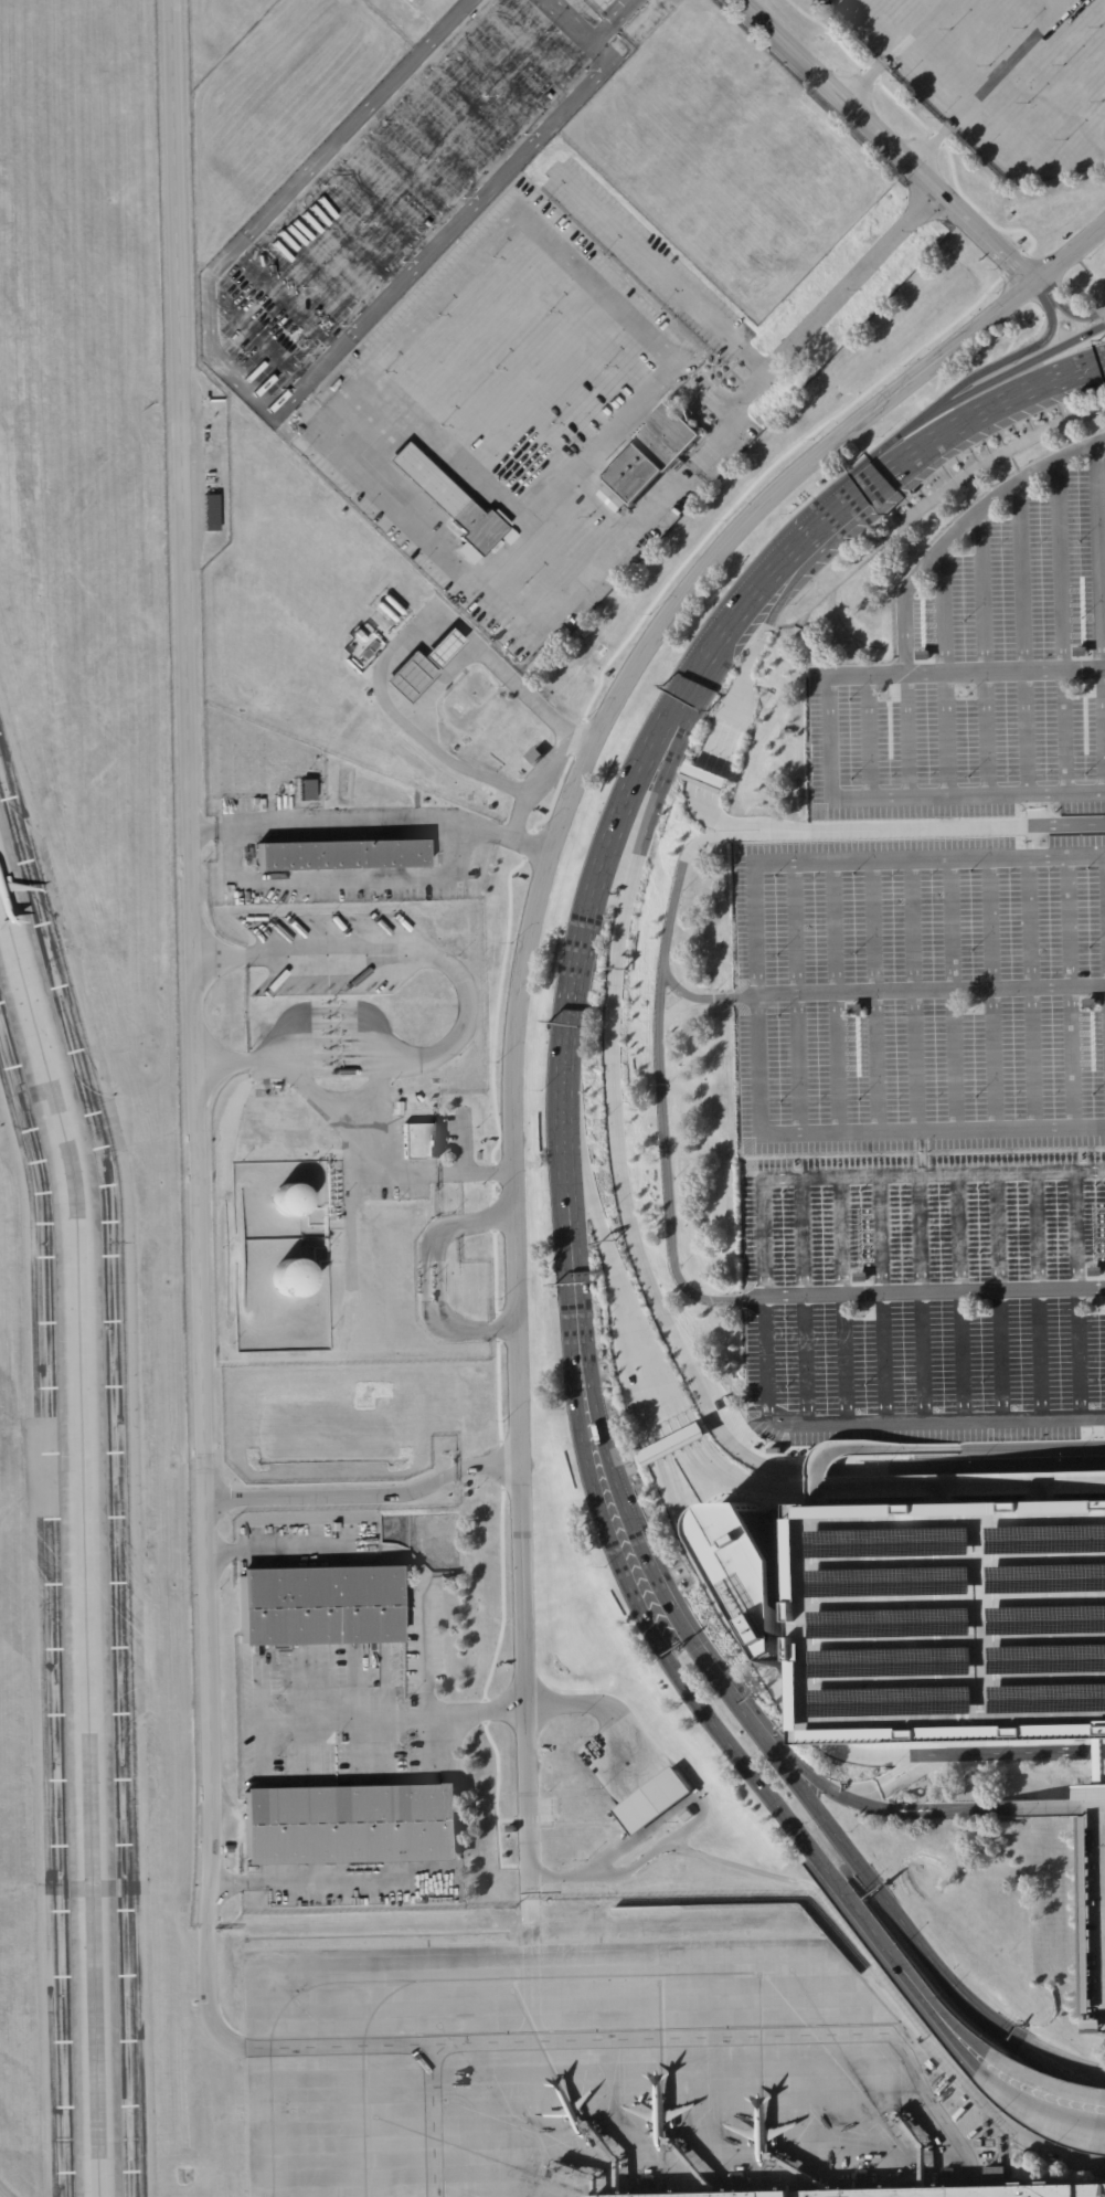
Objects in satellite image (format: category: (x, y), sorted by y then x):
road: (1056, 2)
road: (613, 21)
road: (529, 45)
road: (894, 49)
road: (495, 77)
road: (988, 81)
road: (464, 109)
road: (924, 126)
road: (435, 139)
road: (888, 139)
road: (405, 172)
parking lot: (392, 189)
road: (375, 203)
road: (342, 237)
road: (1069, 253)
road: (1013, 264)
road: (312, 270)
road: (1038, 284)
road: (286, 298)
road: (1070, 311)
road: (412, 325)
road: (256, 337)
road: (748, 356)
road: (1010, 358)
road: (1021, 366)
building: (347, 373)
building: (337, 384)
building: (326, 397)
road: (992, 405)
road: (281, 408)
road: (893, 441)
building: (650, 457)
road: (882, 482)
road: (862, 496)
building: (457, 506)
building: (210, 511)
road: (822, 526)
road: (961, 527)
road: (831, 540)
road: (586, 572)
road: (753, 594)
road: (1099, 617)
road: (1061, 626)
road: (1022, 637)
building: (440, 647)
road: (389, 648)
building: (364, 649)
road: (982, 652)
road: (698, 672)
road: (943, 672)
road: (965, 672)
building: (408, 676)
parking lot: (986, 677)
road: (431, 688)
building: (1081, 688)
road: (740, 689)
building: (885, 693)
railway: (233, 735)
road: (906, 735)
road: (869, 736)
building: (535, 756)
road: (550, 763)
building: (705, 778)
road: (706, 778)
toll booth: (706, 780)
building: (306, 789)
road: (910, 794)
building: (492, 806)
road: (383, 818)
road: (743, 822)
road: (955, 827)
road: (202, 831)
road: (744, 833)
building: (340, 854)
road: (796, 865)
road: (341, 879)
road: (587, 906)
road: (618, 947)
road: (451, 965)
road: (499, 990)
road: (518, 992)
road: (1073, 993)
road: (922, 994)
road: (995, 994)
road: (1033, 994)
road: (916, 995)
road: (956, 995)
road: (690, 996)
road: (878, 996)
road: (804, 997)
road: (838, 997)
building: (1088, 1004)
building: (853, 1008)
road: (220, 1056)
airport: (552, 1098)
road: (660, 1101)
road: (933, 1129)
parking lot: (923, 1136)
building: (418, 1140)
road: (365, 1141)
building: (288, 1197)
storage tank: (288, 1197)
road: (566, 1238)
building: (1096, 1270)
road: (432, 1275)
building: (861, 1276)
building: (295, 1279)
storage tank: (295, 1279)
road: (618, 1285)
road: (1081, 1295)
road: (1003, 1296)
road: (1042, 1296)
road: (765, 1297)
road: (924, 1297)
road: (924, 1298)
road: (961, 1298)
road: (884, 1299)
road: (804, 1300)
road: (846, 1300)
road: (659, 1374)
road: (588, 1398)
road: (1097, 1432)
road: (690, 1434)
toll booth: (690, 1434)
road: (202, 1441)
building: (671, 1444)
road: (863, 1445)
road: (1032, 1447)
road: (656, 1451)
toll booth: (656, 1451)
road: (782, 1466)
road: (744, 1480)
road: (961, 1481)
road: (955, 1483)
road: (619, 1491)
road: (1049, 1491)
road: (1049, 1492)
road: (944, 1493)
road: (364, 1494)
road: (943, 1494)
road: (818, 1497)
building: (787, 1499)
airport taxiway: (83, 1541)
road: (217, 1551)
building: (747, 1561)
road: (721, 1595)
road: (416, 1599)
road: (671, 1599)
building: (317, 1604)
building: (950, 1620)
parking garage: (950, 1620)
road: (647, 1625)
road: (599, 1708)
road: (382, 1713)
road: (258, 1717)
road: (343, 1719)
road: (771, 1731)
road: (809, 1732)
road: (964, 1752)
road: (868, 1754)
road: (791, 1778)
building: (652, 1799)
road: (1096, 1807)
road: (958, 1812)
building: (686, 1815)
building: (357, 1824)
road: (556, 1824)
building: (509, 1829)
building: (231, 1848)
road: (326, 1878)
building: (1096, 1904)
parking lot: (1096, 1904)
road: (528, 1922)
road: (927, 1955)
road: (897, 1960)
airport taxiway: (427, 1982)
road: (1043, 2049)
road: (1040, 2066)
airport apron: (591, 2074)
road: (1040, 2083)
road: (1032, 2105)
road: (434, 2120)
airport terminal: (902, 2191)
building: (902, 2191)

